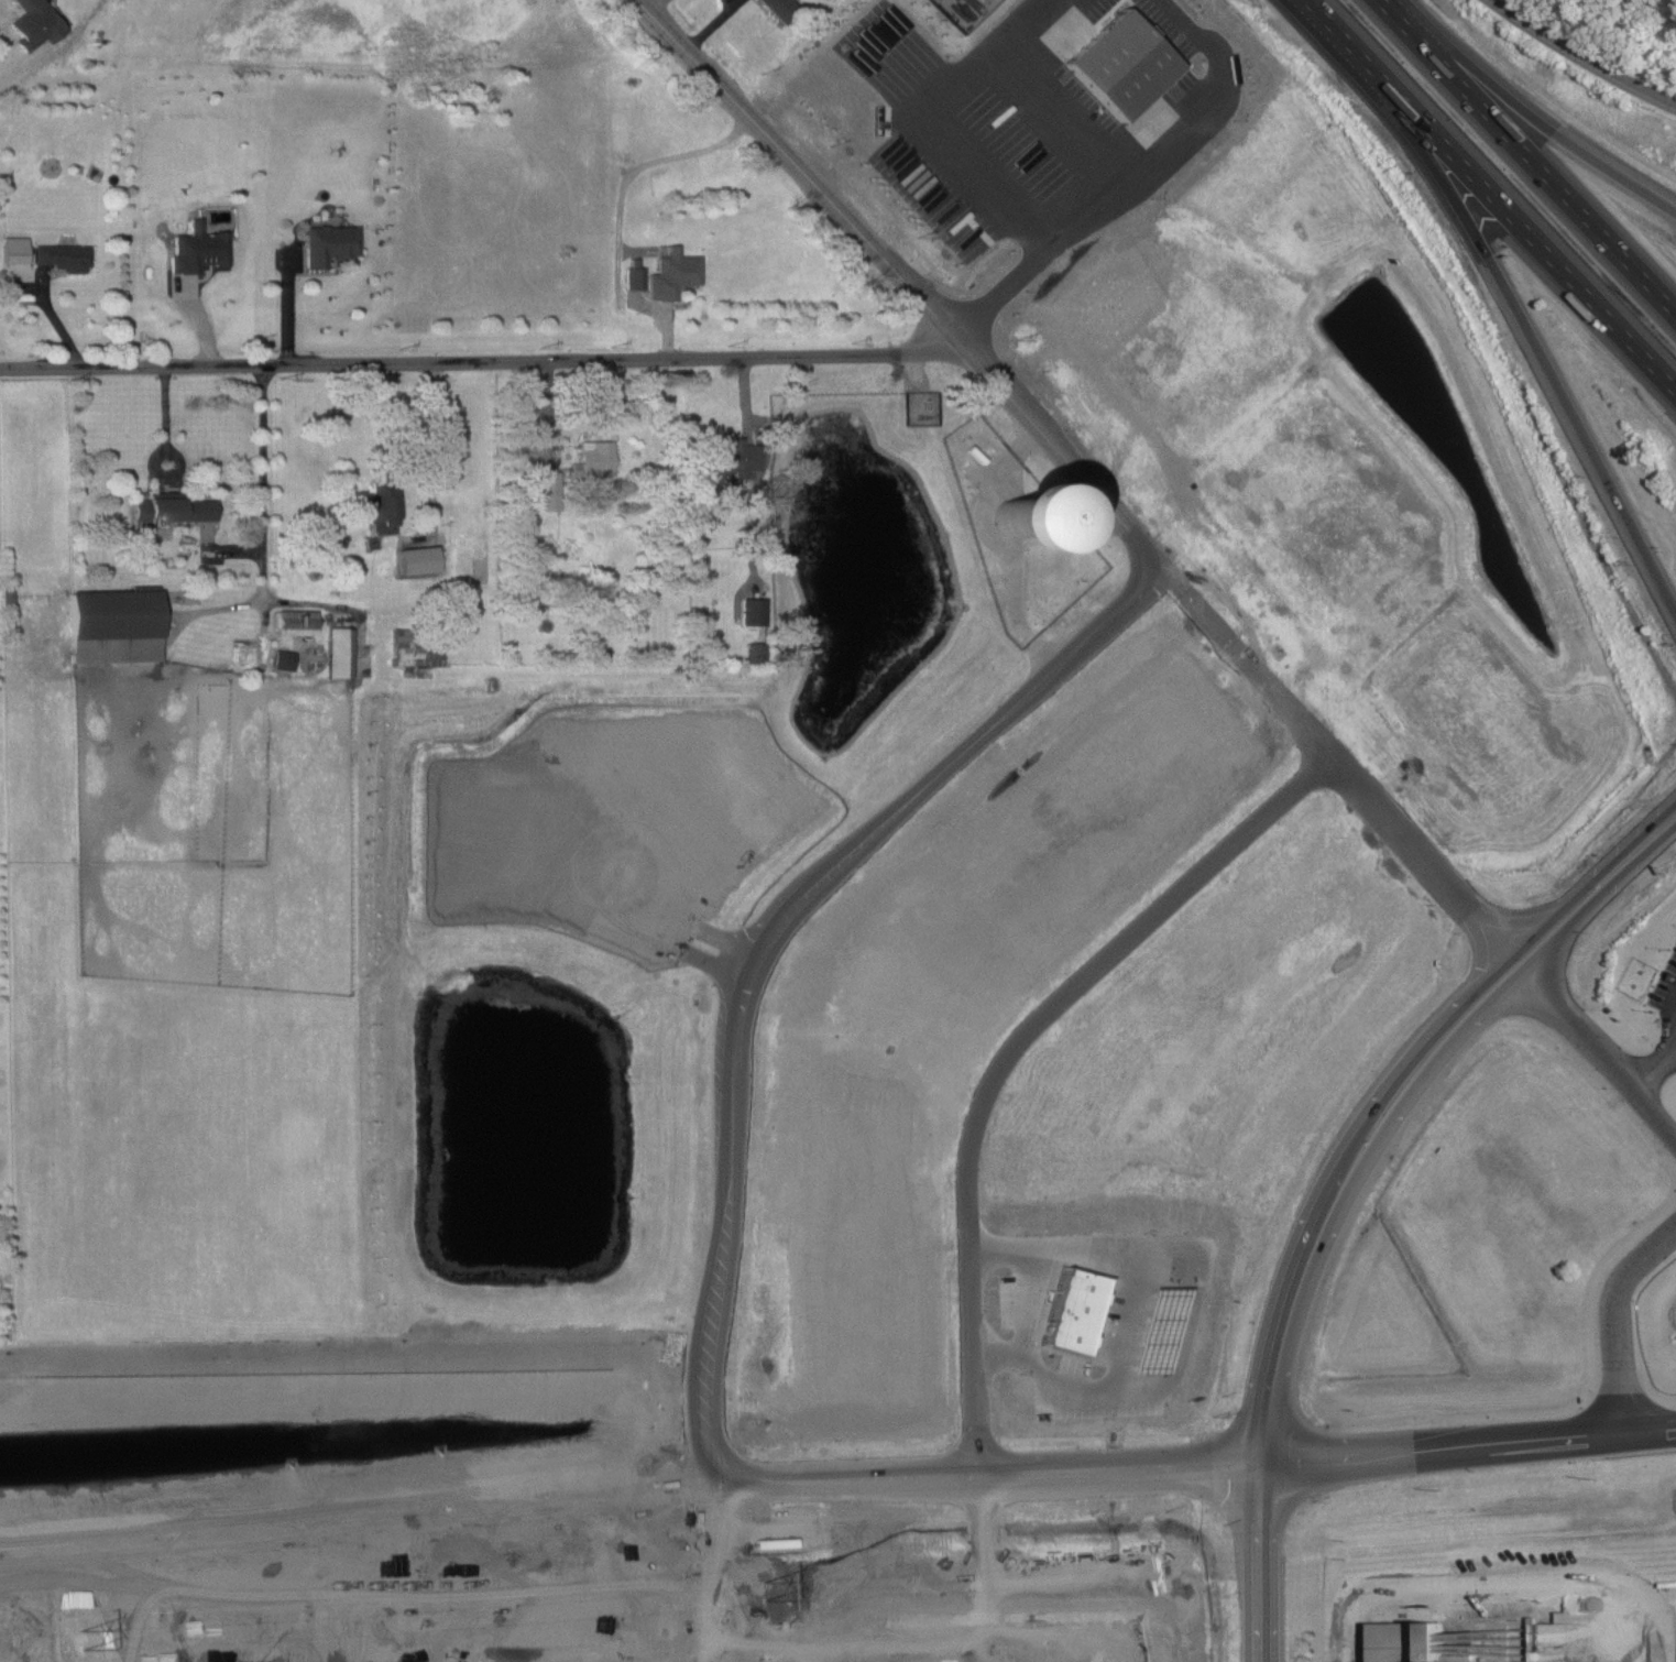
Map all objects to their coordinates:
building: (780, 6)
building: (34, 24)
building: (1136, 57)
road: (1579, 59)
road: (1059, 113)
road: (1533, 118)
road: (938, 121)
road: (1179, 134)
road: (1530, 155)
road: (1489, 198)
road: (1459, 207)
building: (329, 243)
building: (197, 248)
building: (15, 249)
building: (63, 256)
building: (673, 273)
building: (635, 276)
road: (907, 282)
road: (1000, 287)
road: (287, 307)
road: (485, 362)
road: (431, 430)
road: (1595, 458)
building: (732, 459)
building: (593, 460)
road: (262, 478)
building: (549, 490)
building: (380, 502)
building: (174, 507)
building: (1036, 507)
water tower: (1014, 518)
building: (418, 558)
building: (754, 610)
building: (296, 622)
building: (116, 625)
building: (413, 649)
building: (340, 652)
road: (1253, 658)
building: (283, 659)
building: (1152, 744)
road: (1666, 834)
road: (1666, 840)
road: (1425, 856)
parking lot: (1667, 992)
road: (1017, 1049)
road: (1620, 1069)
road: (1656, 1074)
road: (1395, 1115)
road: (737, 1165)
road: (1030, 1300)
building: (1075, 1310)
road: (1618, 1323)
road: (1651, 1434)
road: (1564, 1441)
road: (1432, 1451)
road: (1311, 1459)
road: (1219, 1465)
power tower: (1346, 1549)
road: (1257, 1562)
road: (1504, 1585)
power tower: (764, 1592)
power tower: (81, 1638)
building: (1412, 1642)

